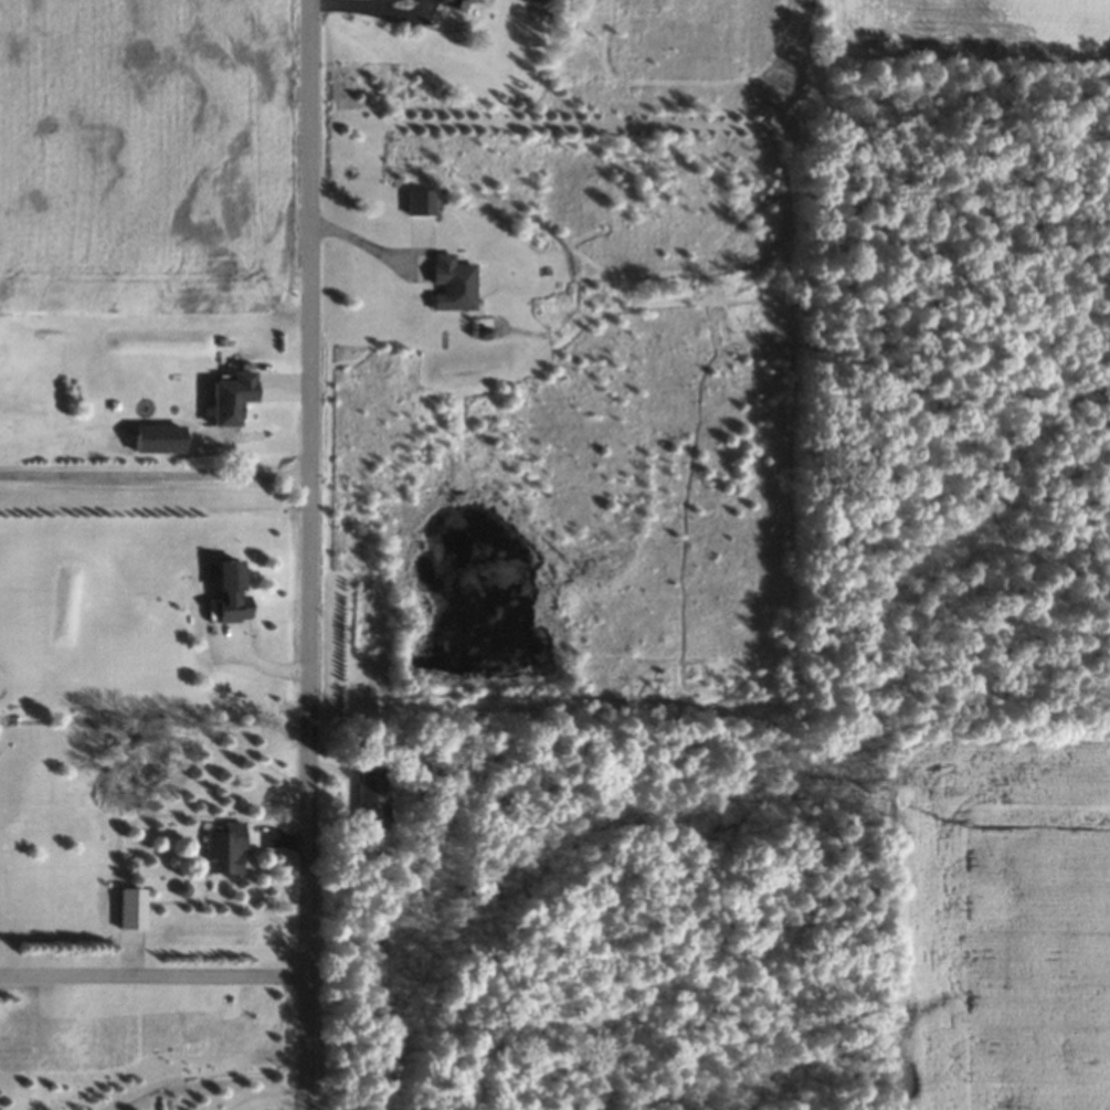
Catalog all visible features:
building: (456, 4)
crop: (1071, 7)
building: (451, 283)
building: (232, 398)
road: (155, 469)
road: (310, 554)
building: (231, 574)
building: (372, 793)
building: (224, 847)
road: (154, 974)

